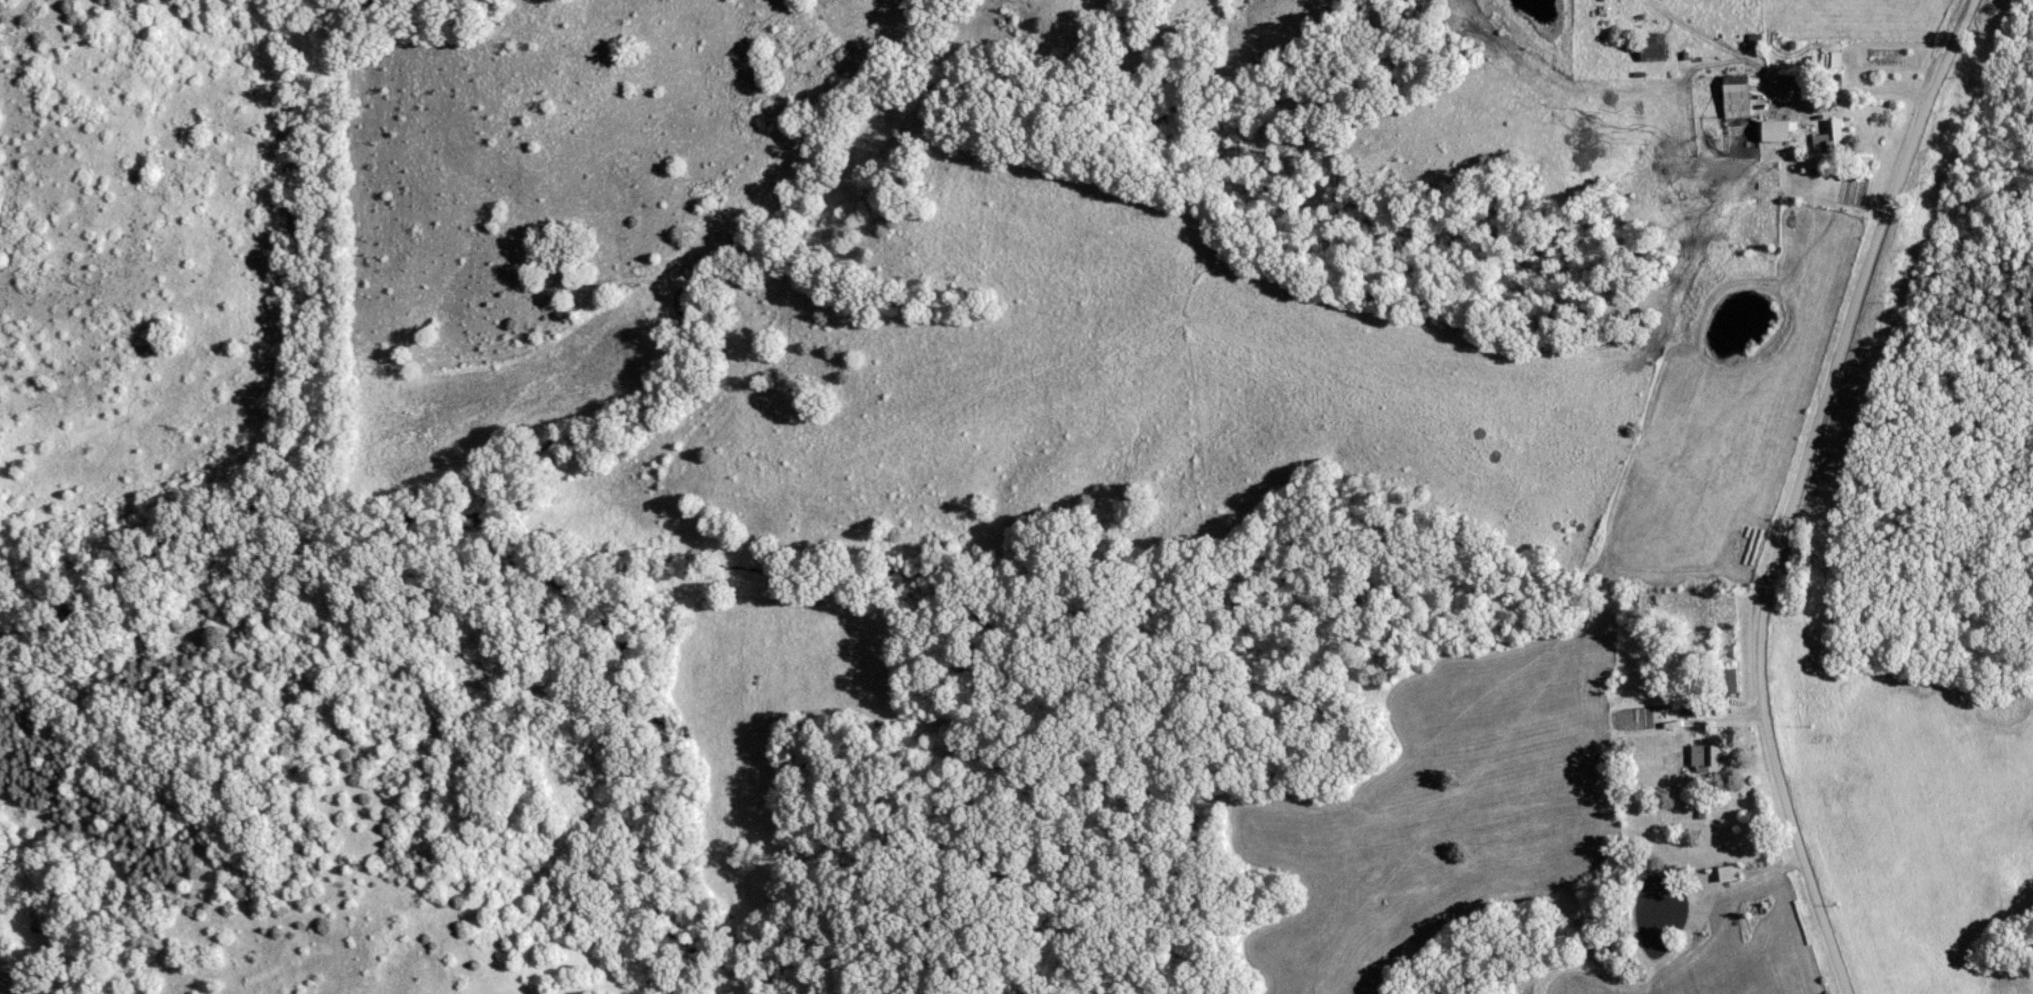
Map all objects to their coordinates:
building: (1655, 47)
building: (1737, 97)
building: (1778, 131)
building: (1829, 140)
road: (1793, 489)
building: (1728, 681)
building: (1716, 759)
building: (1730, 874)

